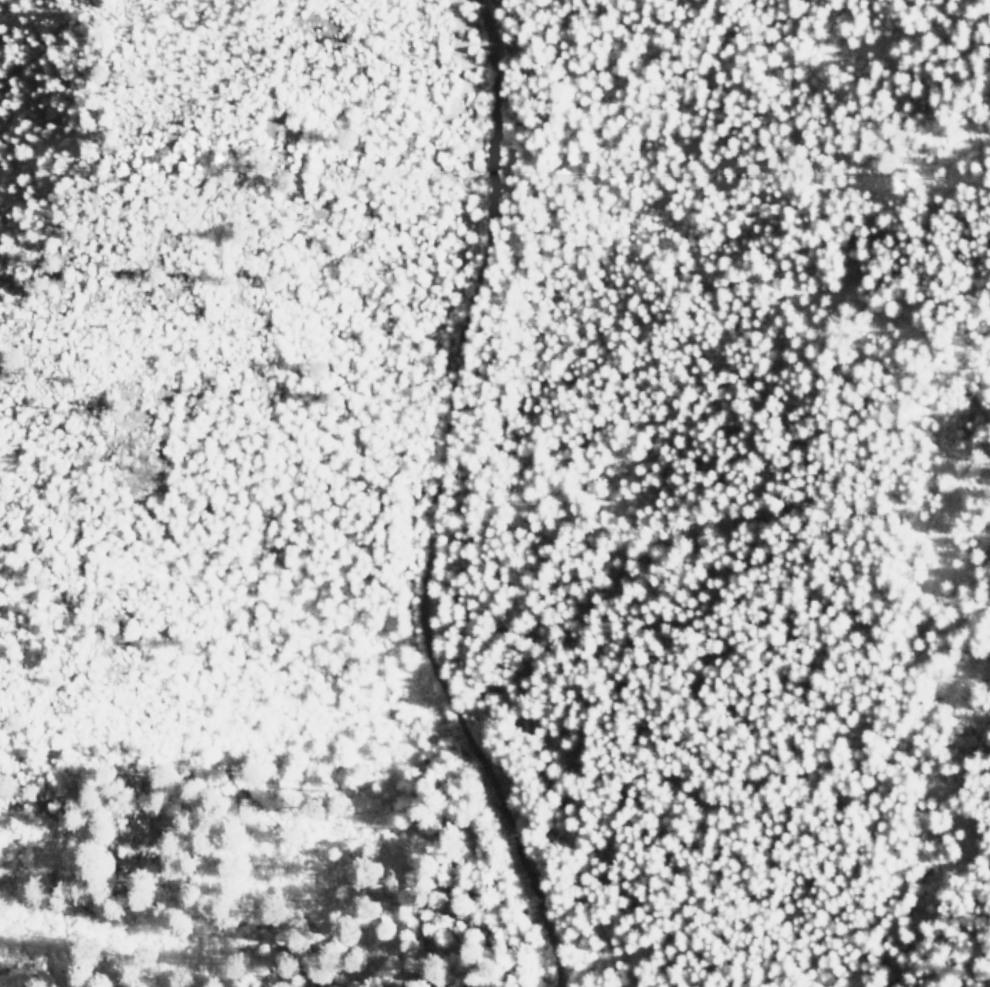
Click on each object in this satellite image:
road: (416, 503)

